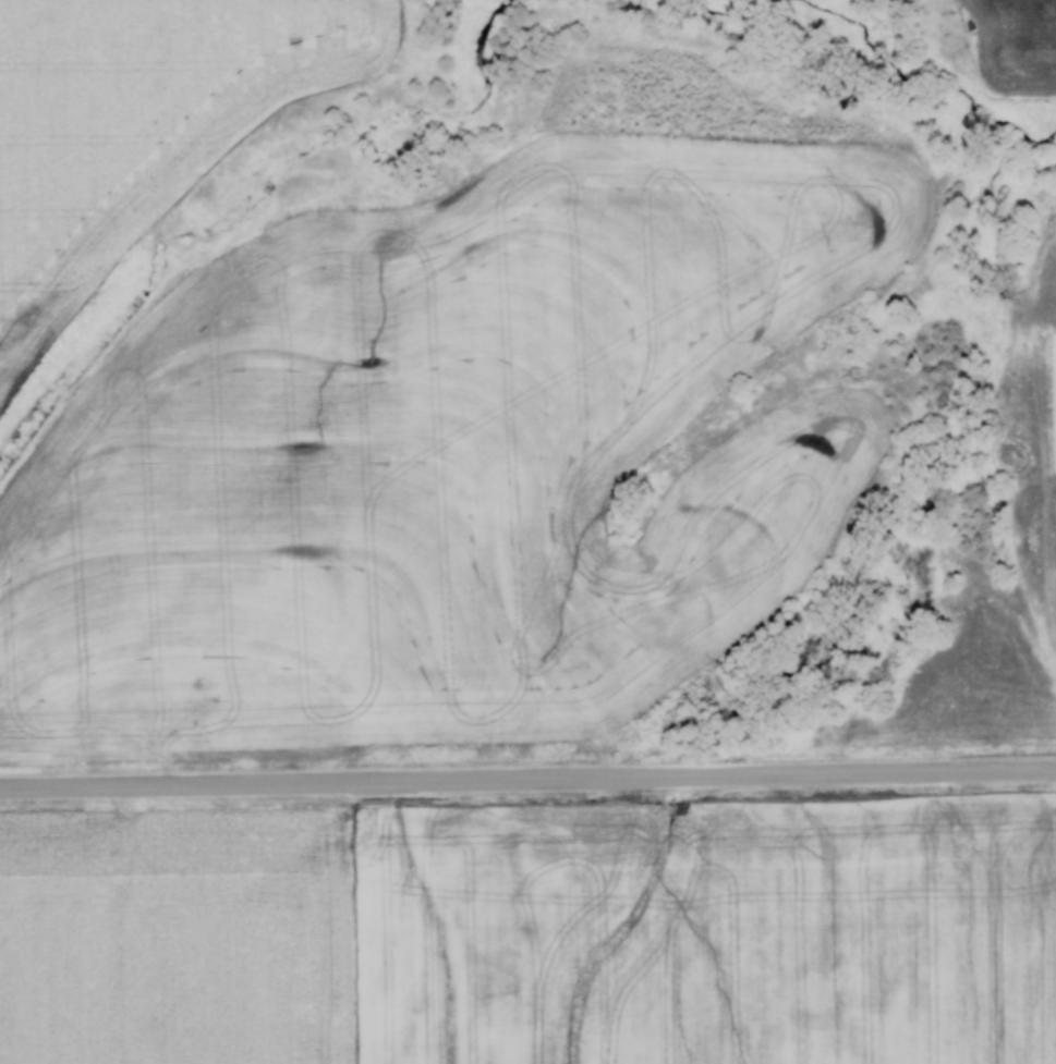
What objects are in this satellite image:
road: (527, 776)

